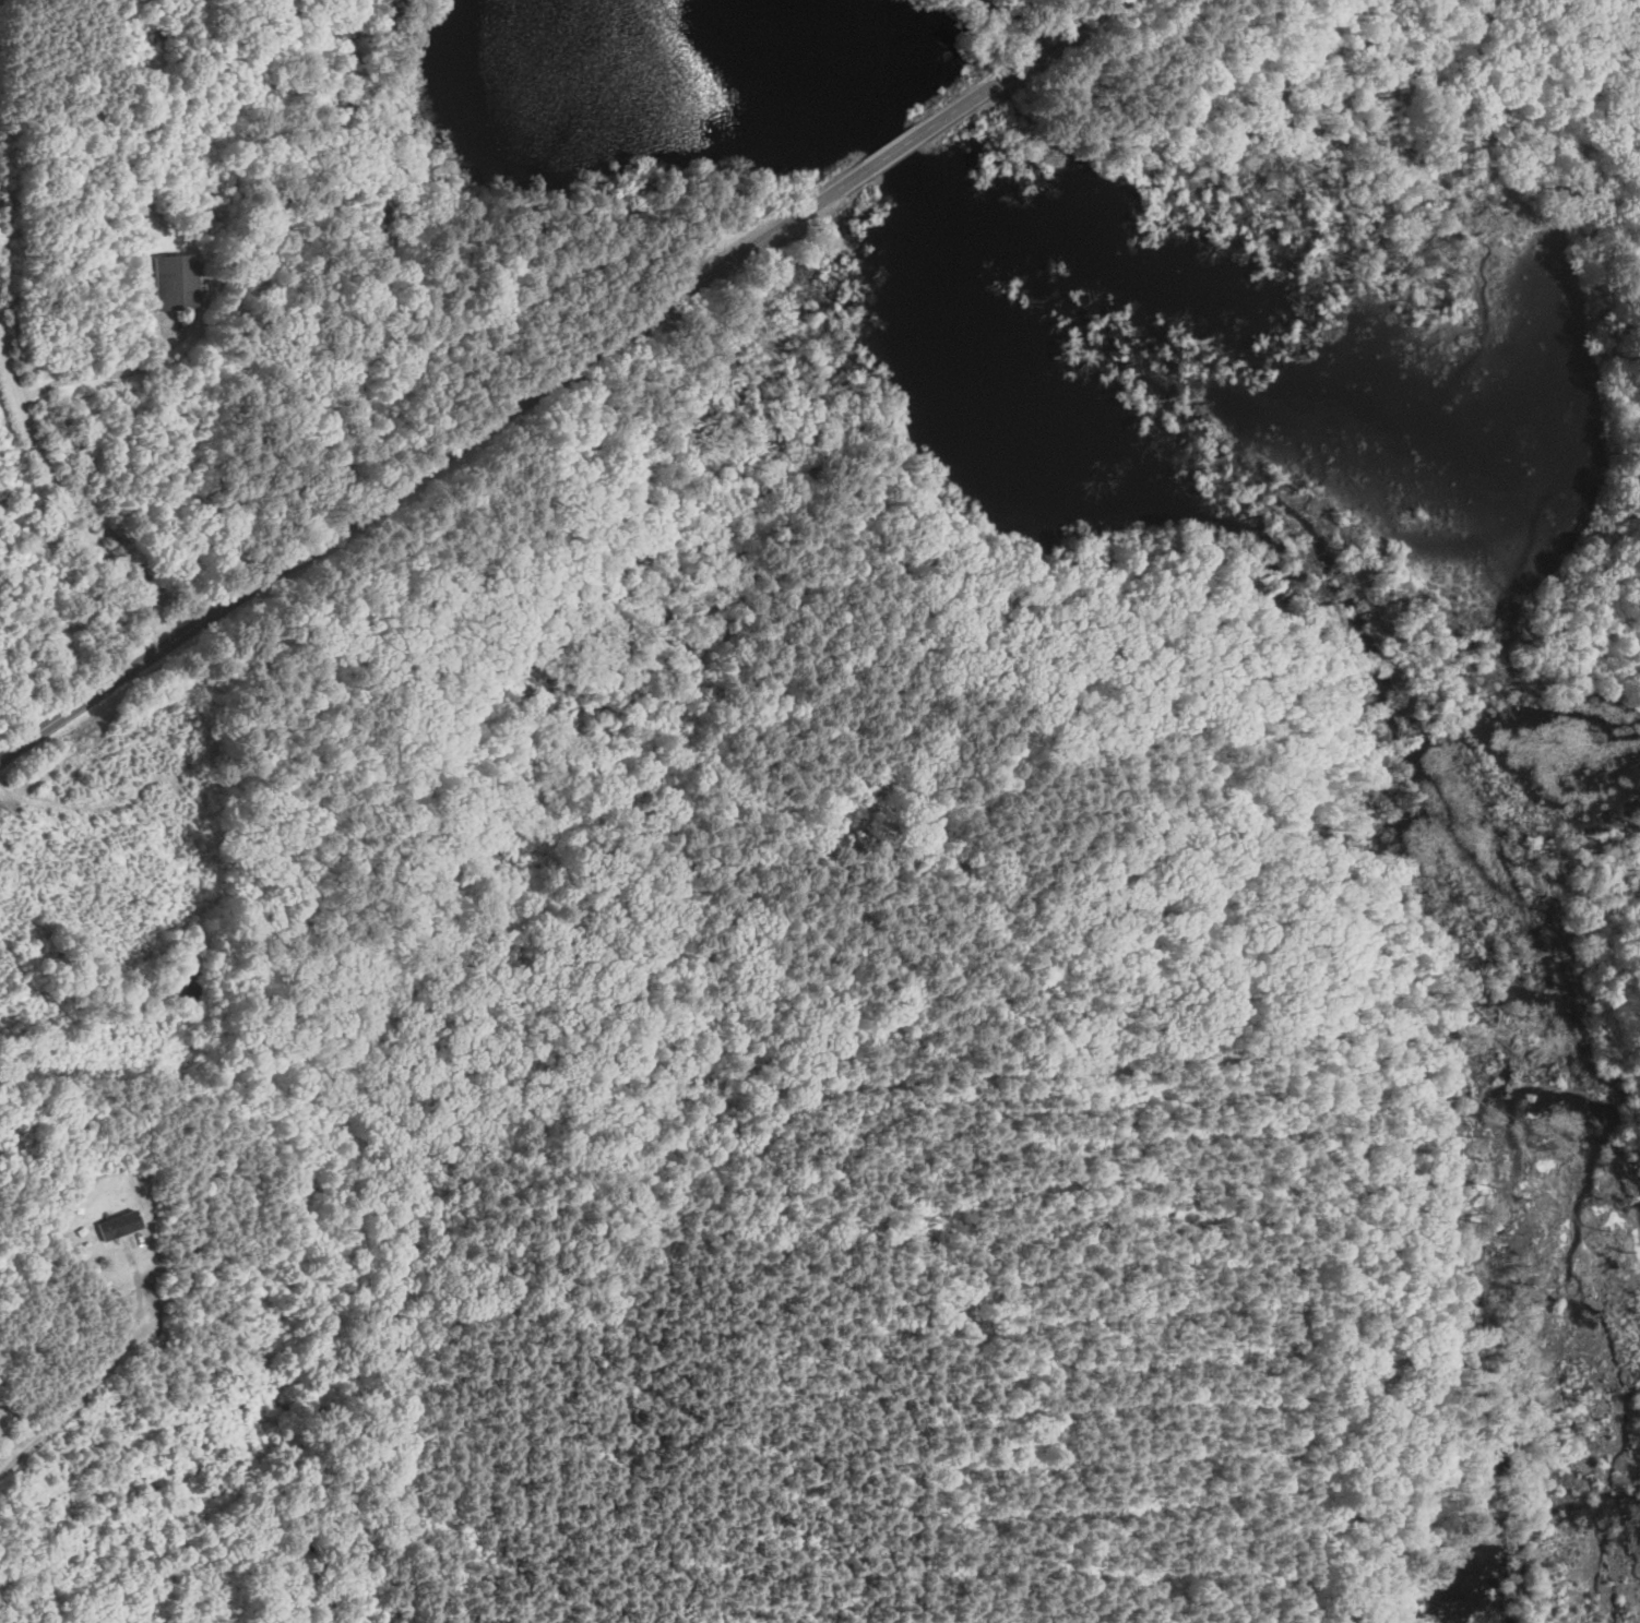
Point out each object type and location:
road: (2, 0)
building: (159, 34)
road: (1017, 65)
road: (895, 150)
building: (178, 282)
road: (114, 370)
road: (433, 463)
road: (58, 489)
building: (122, 1226)
road: (86, 1394)

